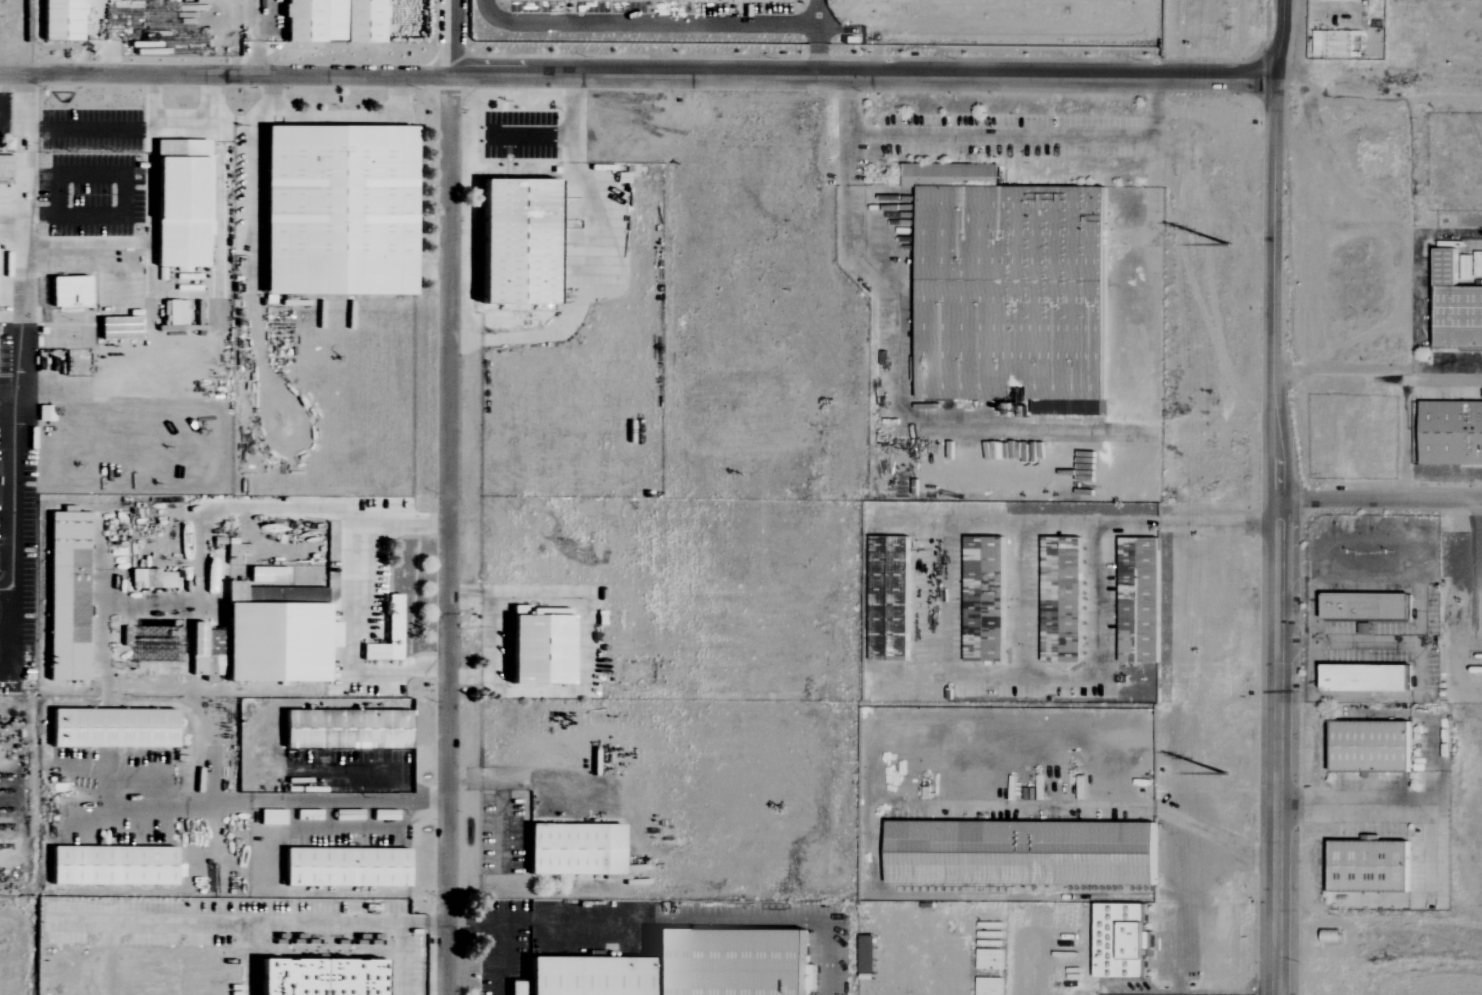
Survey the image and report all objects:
building: (59, 20)
building: (332, 21)
road: (643, 24)
road: (816, 36)
road: (259, 39)
road: (1280, 40)
road: (638, 74)
road: (1379, 83)
road: (2, 103)
road: (574, 105)
road: (23, 117)
road: (112, 130)
road: (207, 130)
road: (529, 135)
road: (1001, 135)
road: (124, 173)
building: (180, 204)
building: (337, 211)
road: (40, 216)
building: (515, 242)
power tower: (1240, 250)
road: (589, 288)
building: (1009, 290)
building: (1455, 306)
building: (117, 328)
road: (1408, 368)
road: (13, 417)
building: (1450, 432)
road: (449, 497)
road: (1379, 499)
road: (201, 521)
road: (1114, 524)
road: (1276, 537)
building: (266, 574)
road: (6, 589)
building: (65, 594)
road: (351, 596)
building: (889, 597)
building: (984, 599)
building: (1062, 599)
building: (1139, 600)
road: (6, 631)
building: (274, 633)
building: (385, 634)
building: (539, 649)
building: (1364, 677)
building: (113, 727)
building: (345, 728)
building: (1369, 746)
road: (353, 772)
power tower: (1237, 778)
road: (501, 796)
road: (1353, 803)
road: (1121, 806)
road: (371, 826)
building: (574, 848)
building: (1020, 852)
building: (113, 866)
building: (1367, 866)
building: (345, 867)
road: (234, 920)
road: (698, 920)
road: (498, 933)
road: (400, 936)
building: (865, 954)
building: (681, 966)
building: (315, 977)

